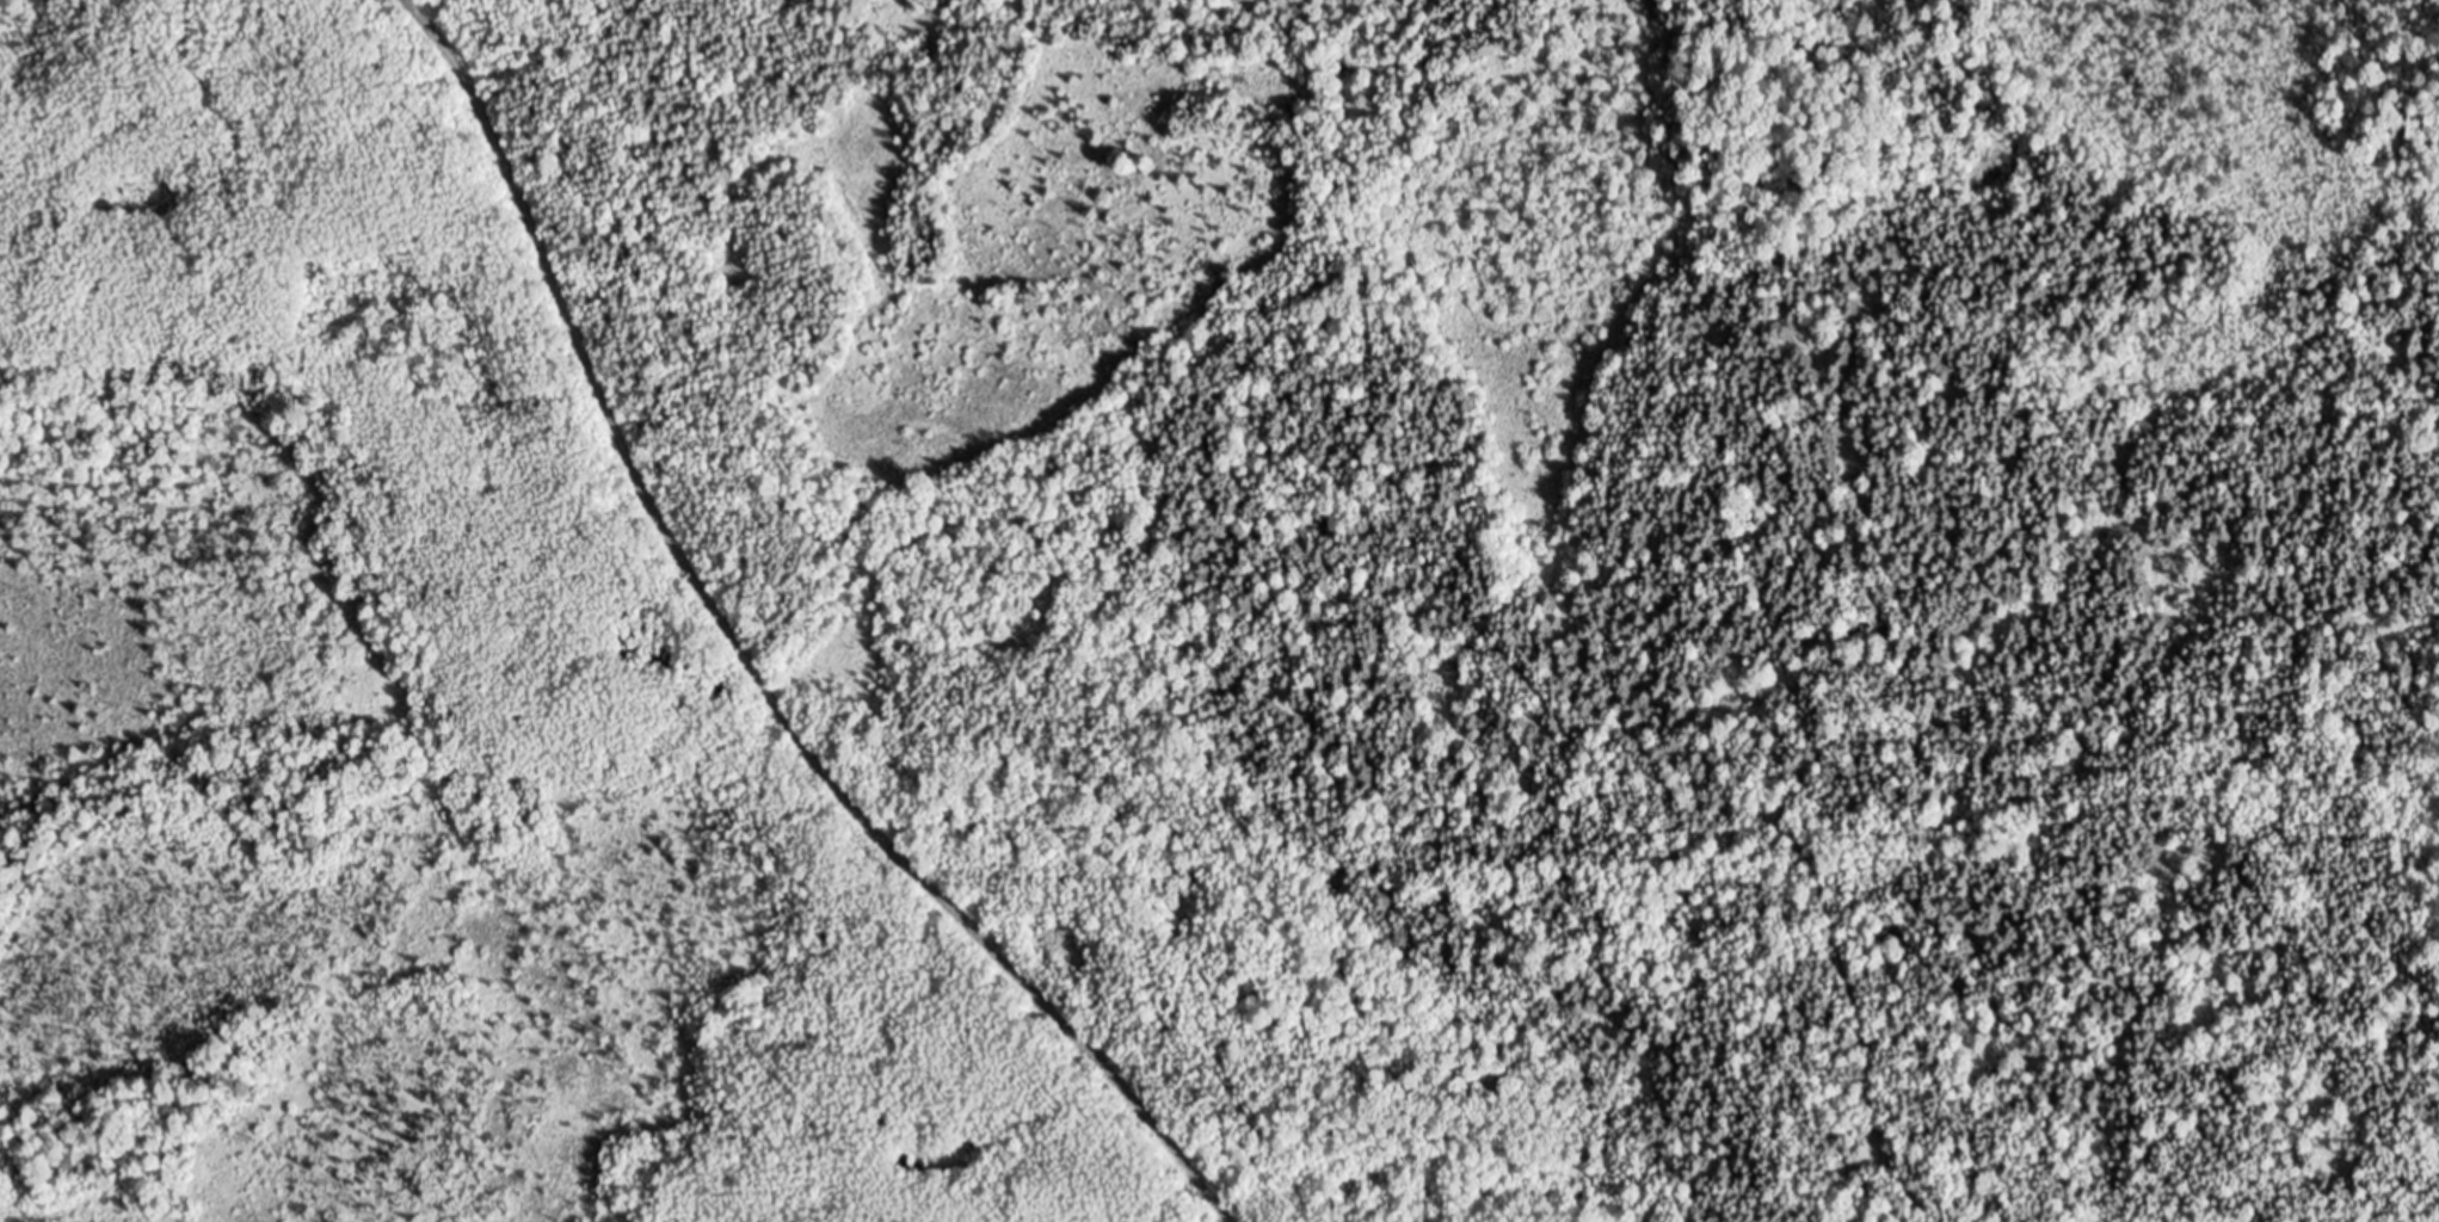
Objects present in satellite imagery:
road: (741, 656)

